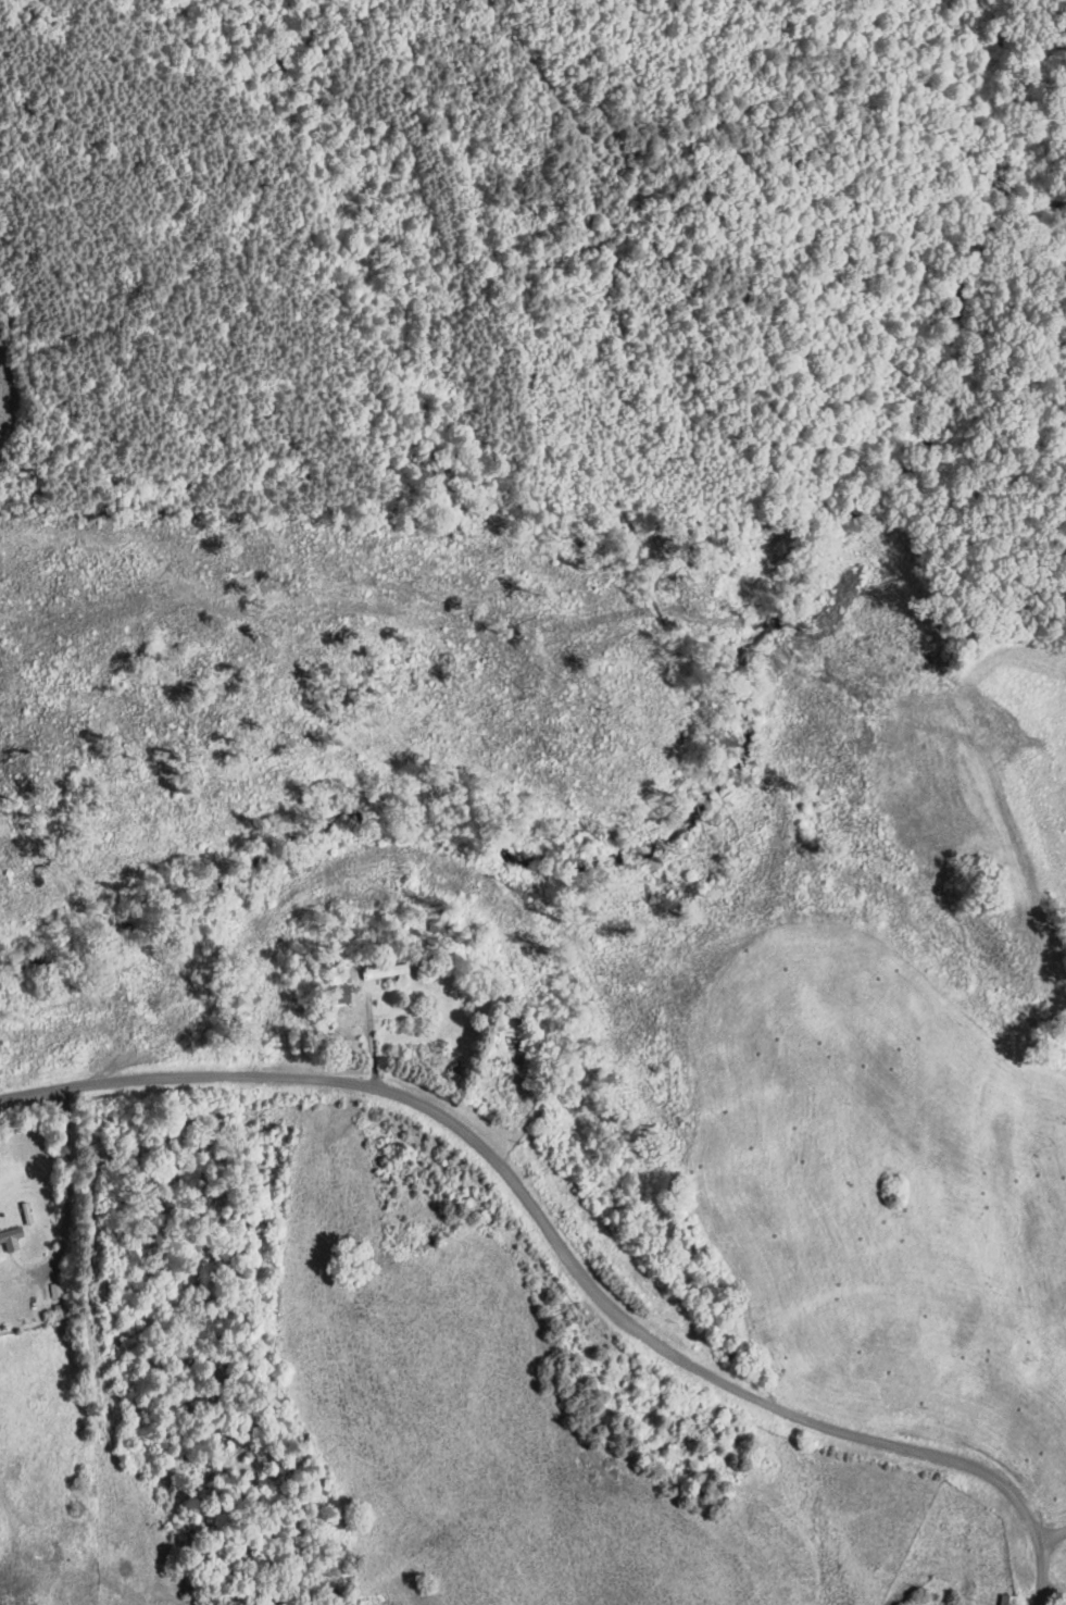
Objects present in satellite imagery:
road: (67, 1174)
building: (11, 1236)
road: (565, 1254)
road: (1053, 1535)

